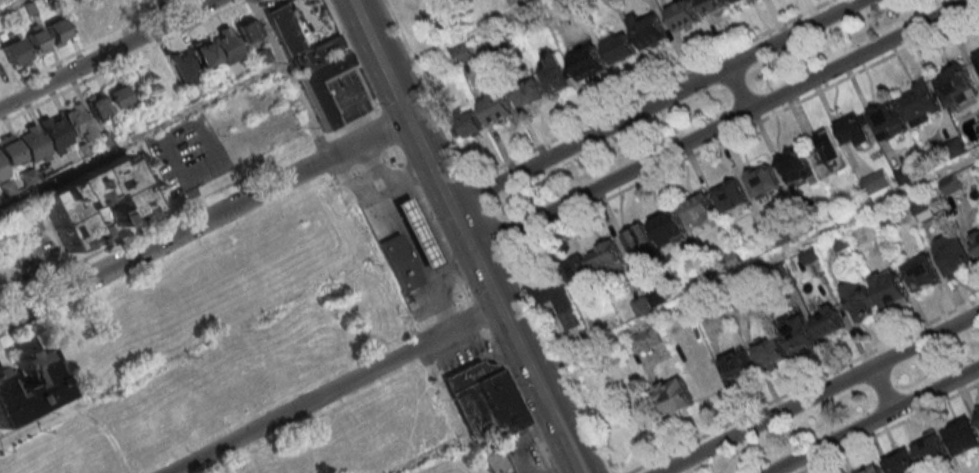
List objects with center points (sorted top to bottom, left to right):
building: (737, 1)
building: (125, 3)
road: (11, 5)
building: (715, 6)
building: (683, 14)
building: (78, 19)
building: (649, 29)
building: (56, 30)
building: (245, 33)
road: (460, 36)
building: (36, 40)
road: (92, 46)
building: (619, 47)
building: (14, 51)
building: (217, 51)
road: (107, 54)
road: (352, 55)
building: (977, 57)
building: (588, 61)
road: (125, 62)
building: (313, 64)
building: (2, 68)
building: (185, 69)
building: (554, 72)
building: (954, 84)
road: (736, 89)
road: (428, 90)
road: (653, 90)
building: (529, 92)
building: (116, 96)
road: (402, 102)
road: (654, 102)
building: (920, 102)
building: (97, 106)
building: (496, 106)
building: (887, 119)
building: (78, 121)
road: (720, 124)
building: (468, 125)
road: (387, 129)
building: (853, 130)
road: (742, 132)
building: (55, 133)
road: (141, 135)
building: (33, 143)
building: (827, 154)
building: (794, 165)
building: (2, 170)
building: (763, 180)
building: (875, 180)
building: (950, 184)
building: (730, 195)
building: (94, 199)
building: (699, 209)
building: (921, 209)
road: (489, 216)
road: (205, 220)
road: (433, 225)
road: (462, 227)
building: (418, 231)
building: (656, 233)
road: (368, 236)
building: (976, 238)
building: (953, 253)
building: (606, 256)
building: (401, 262)
road: (757, 268)
building: (921, 272)
building: (579, 276)
building: (890, 288)
building: (551, 294)
building: (859, 298)
road: (477, 316)
building: (828, 321)
building: (798, 336)
building: (646, 340)
building: (769, 352)
road: (526, 361)
road: (559, 362)
building: (736, 365)
building: (706, 383)
road: (803, 384)
building: (28, 386)
road: (879, 388)
road: (334, 389)
road: (817, 392)
building: (676, 396)
road: (519, 401)
building: (487, 403)
building: (978, 412)
road: (873, 419)
road: (45, 422)
road: (888, 428)
building: (962, 436)
building: (930, 447)
road: (431, 455)
building: (494, 460)
building: (901, 462)
building: (872, 469)

